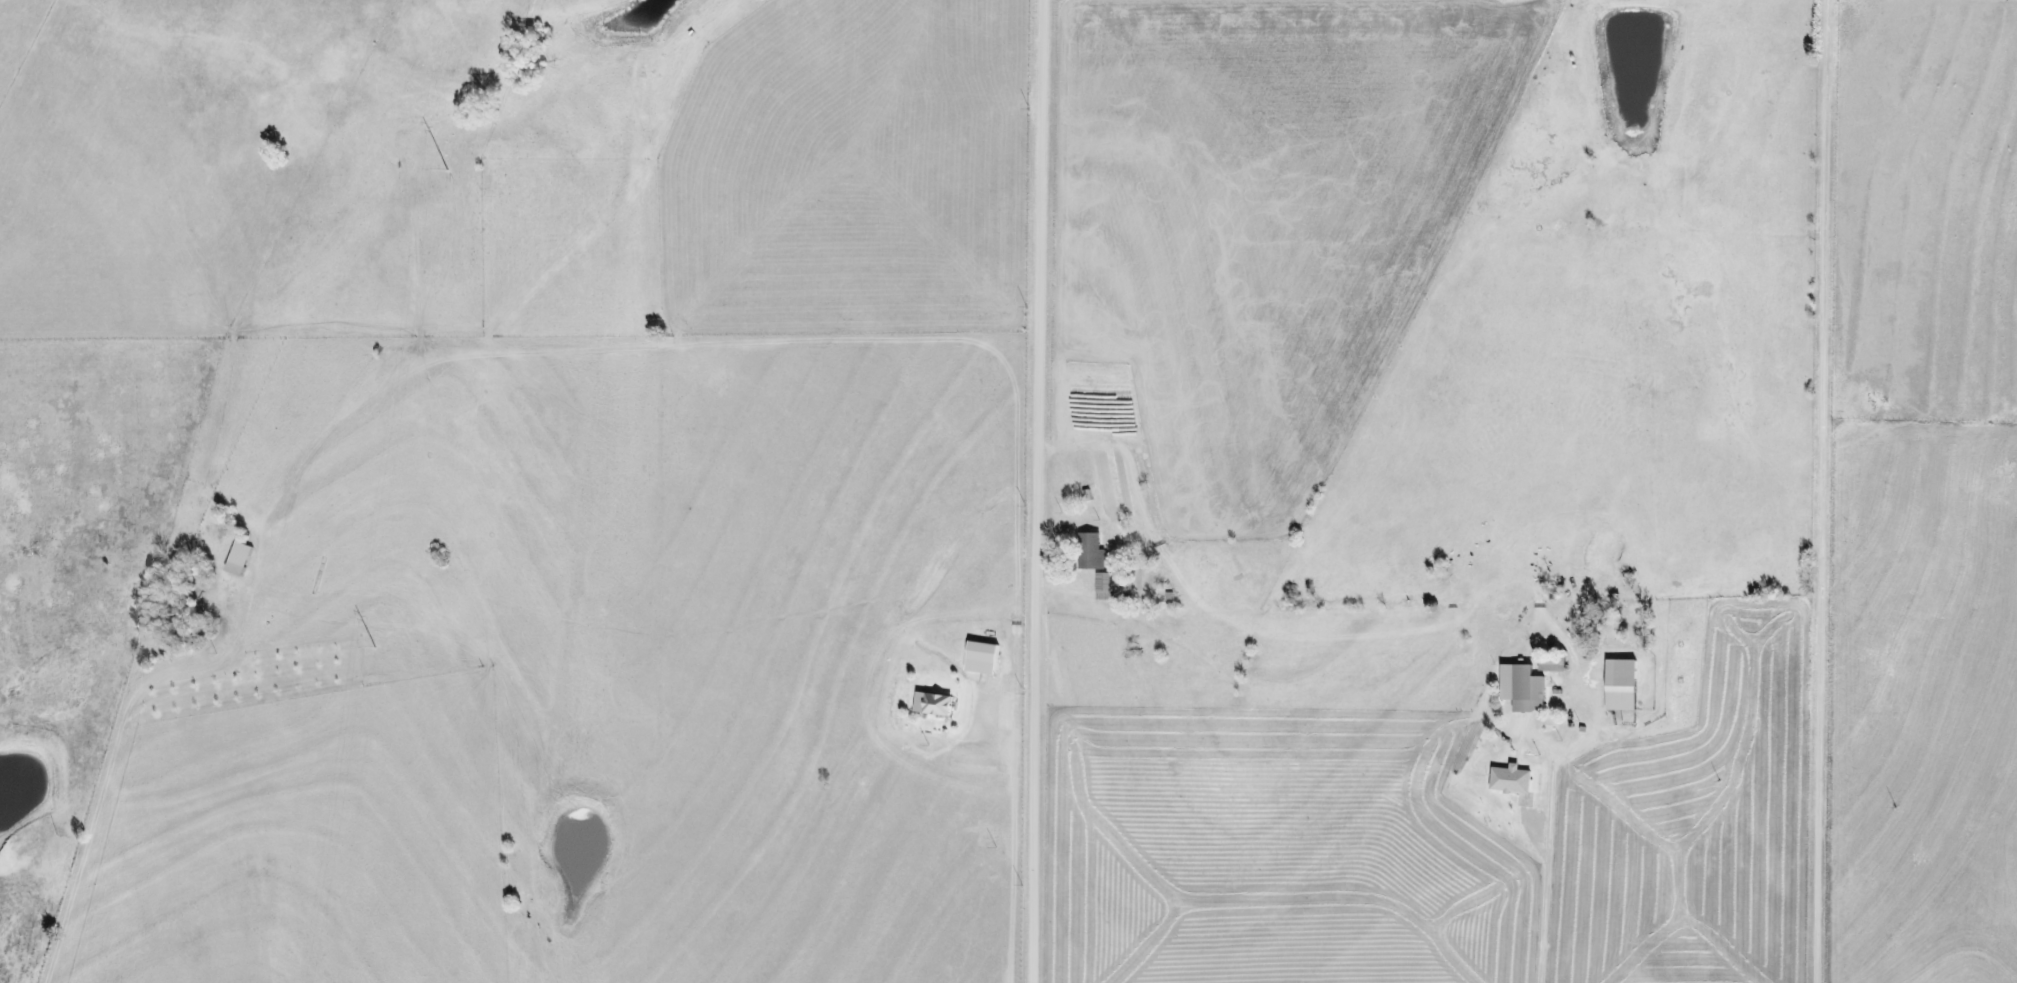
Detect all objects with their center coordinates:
power tower: (447, 171)
road: (1150, 313)
road: (1837, 421)
road: (1043, 491)
building: (1091, 551)
building: (237, 558)
power tower: (375, 649)
building: (981, 657)
building: (1551, 663)
building: (1620, 684)
building: (1522, 687)
building: (933, 703)
building: (1510, 778)
road: (91, 805)
road: (1411, 870)

